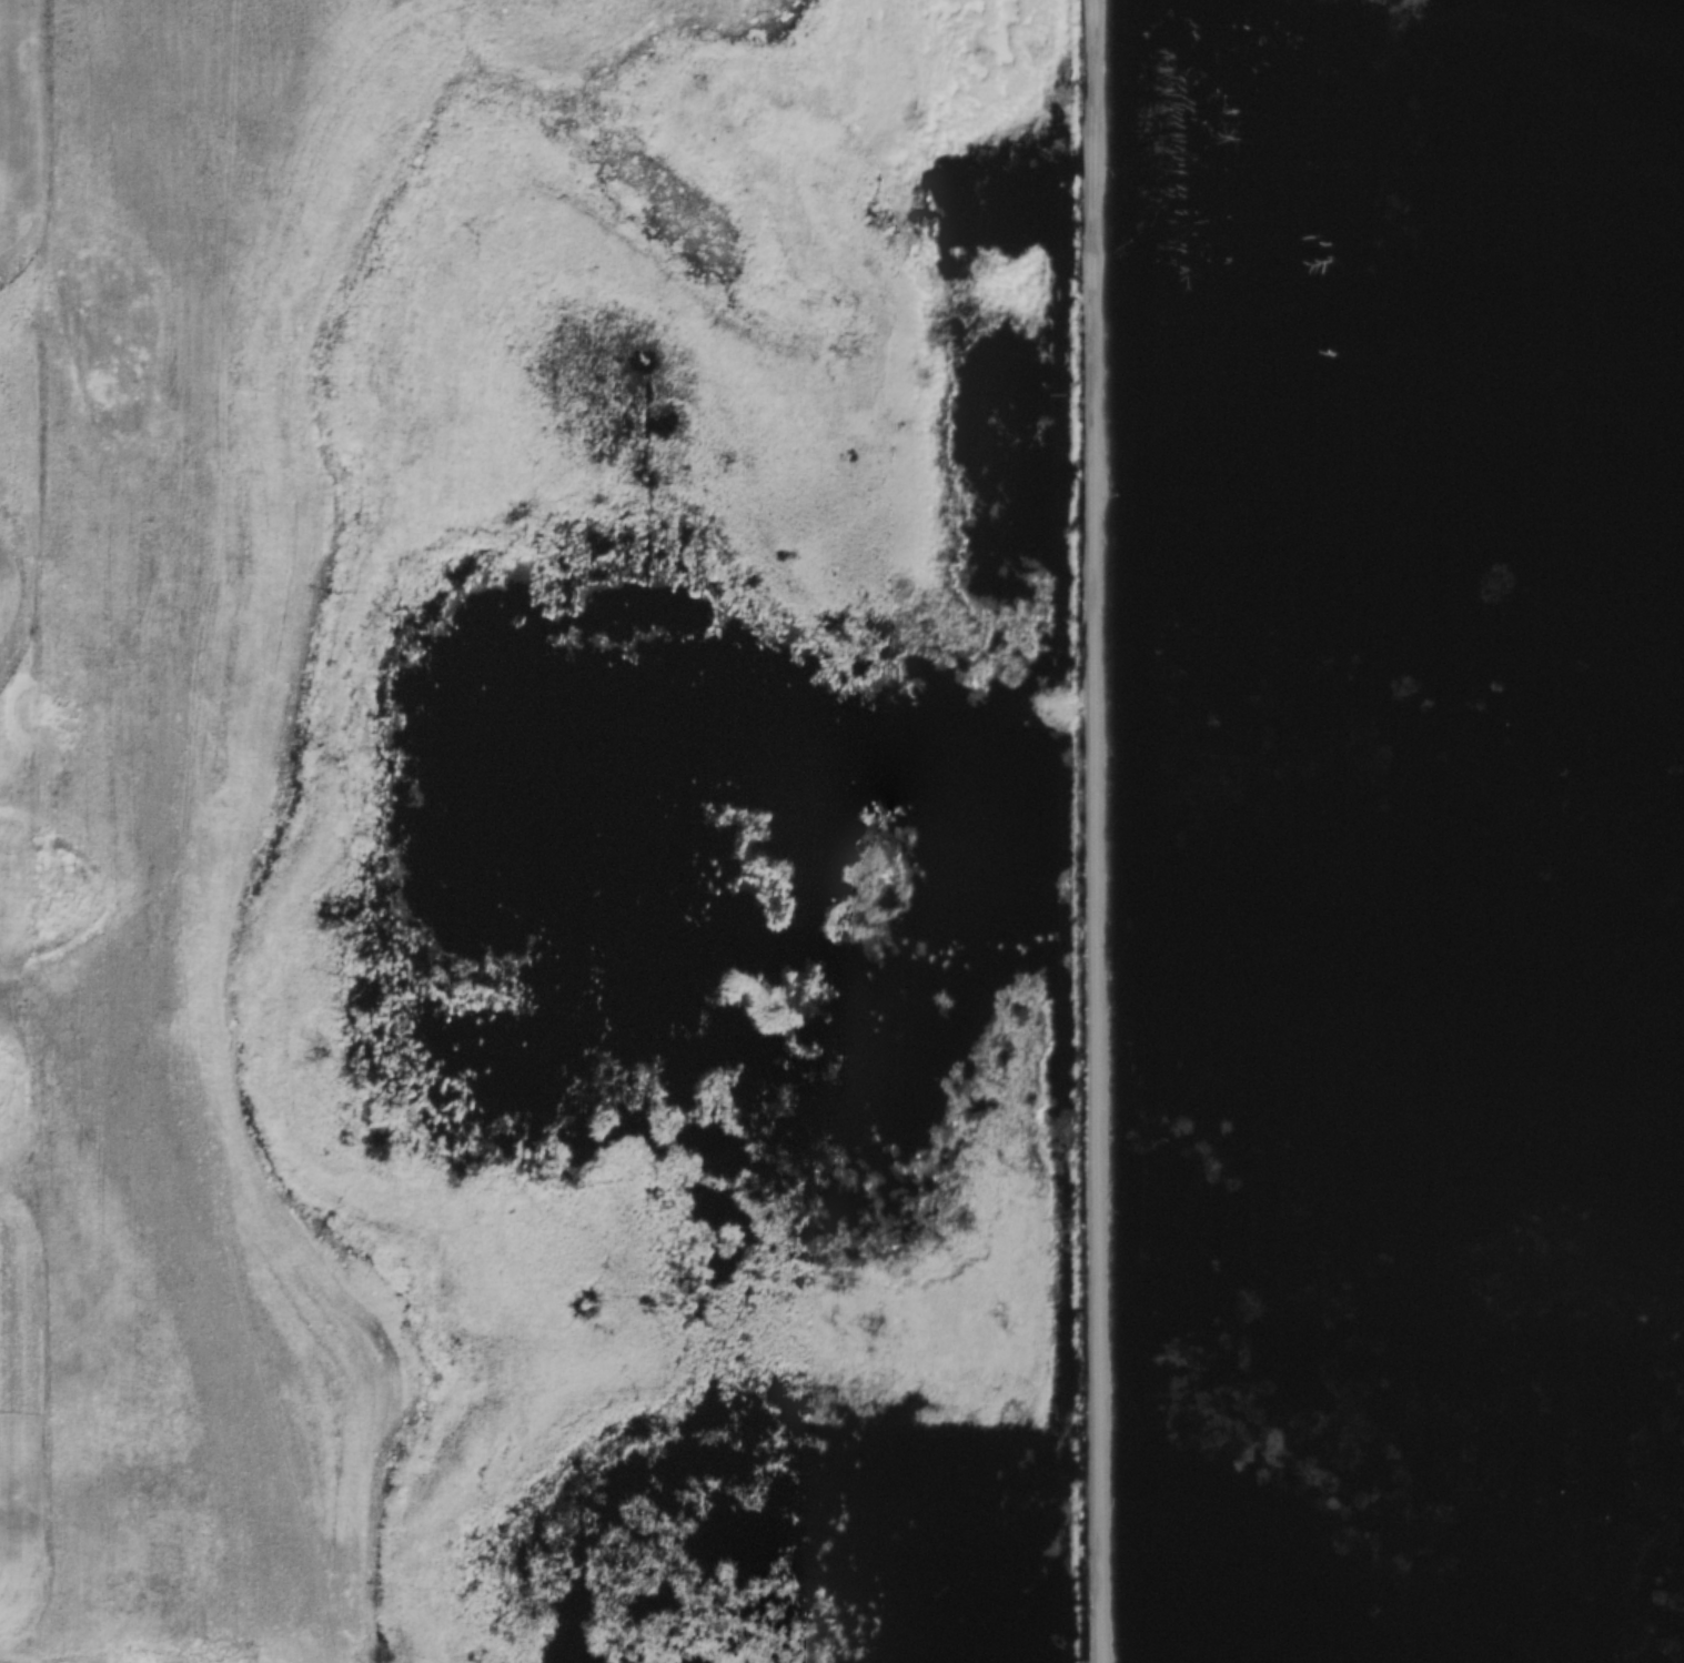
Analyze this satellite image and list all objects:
building: (1415, 89)
road: (1330, 310)
road: (1106, 831)

